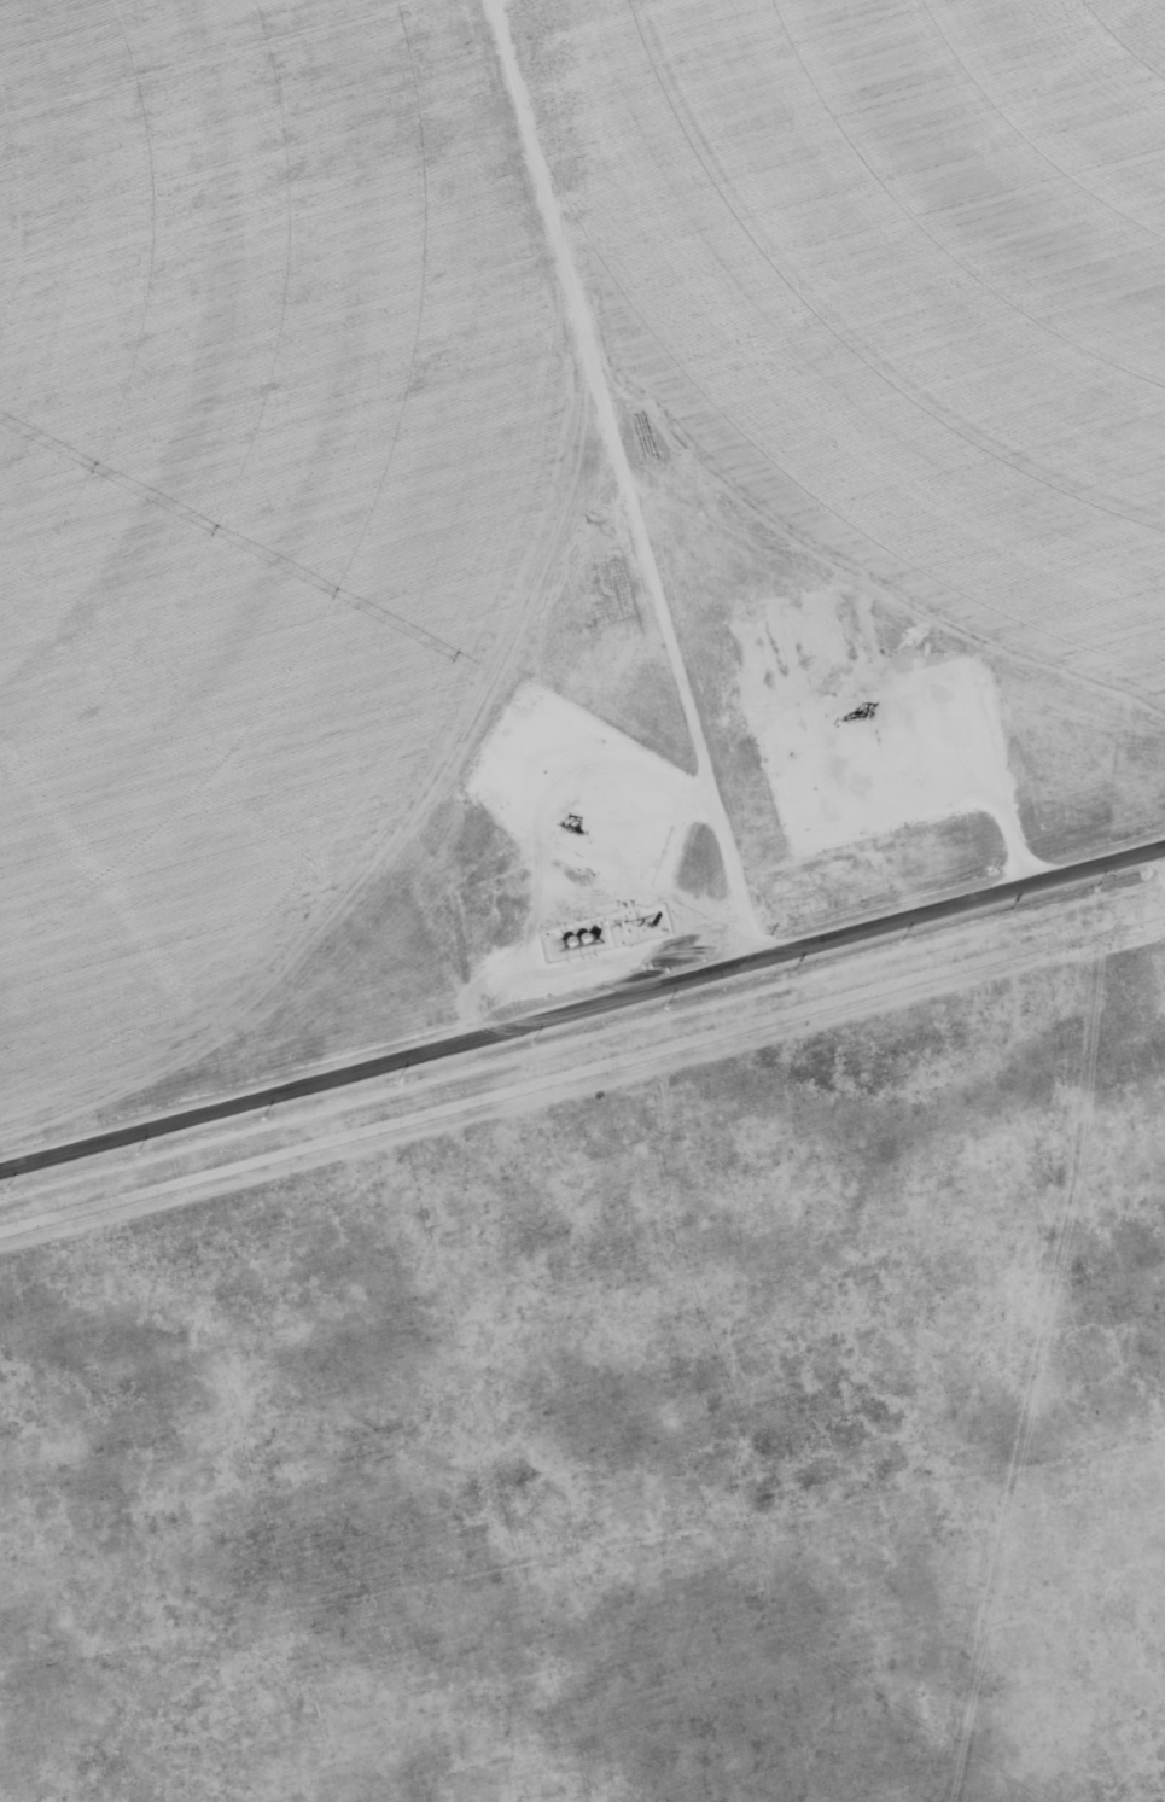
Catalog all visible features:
petroleum well: (860, 710)
petroleum well: (569, 824)
road: (582, 1002)

